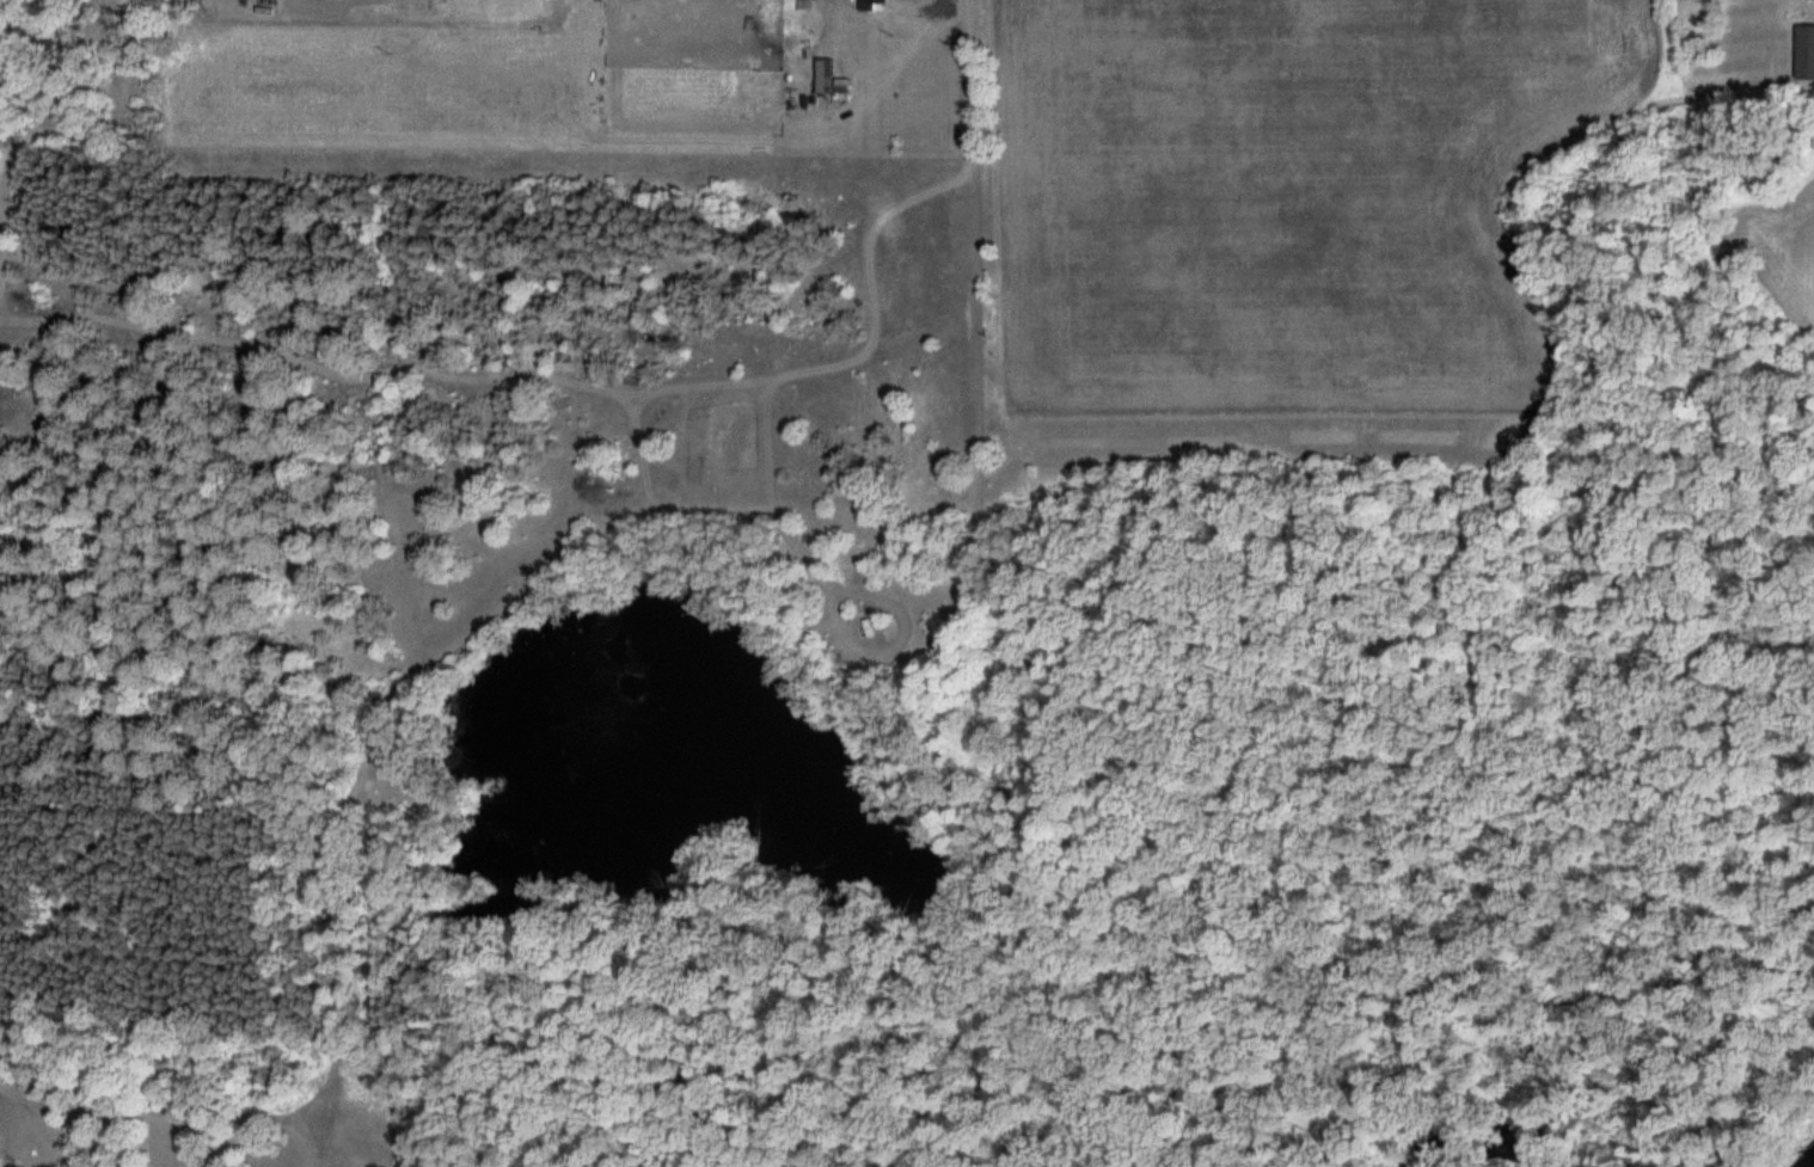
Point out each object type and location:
building: (1810, 0)
building: (872, 5)
road: (964, 5)
road: (929, 10)
building: (825, 76)
road: (975, 294)
road: (500, 609)
river: (1475, 1136)
river: (1807, 1161)

